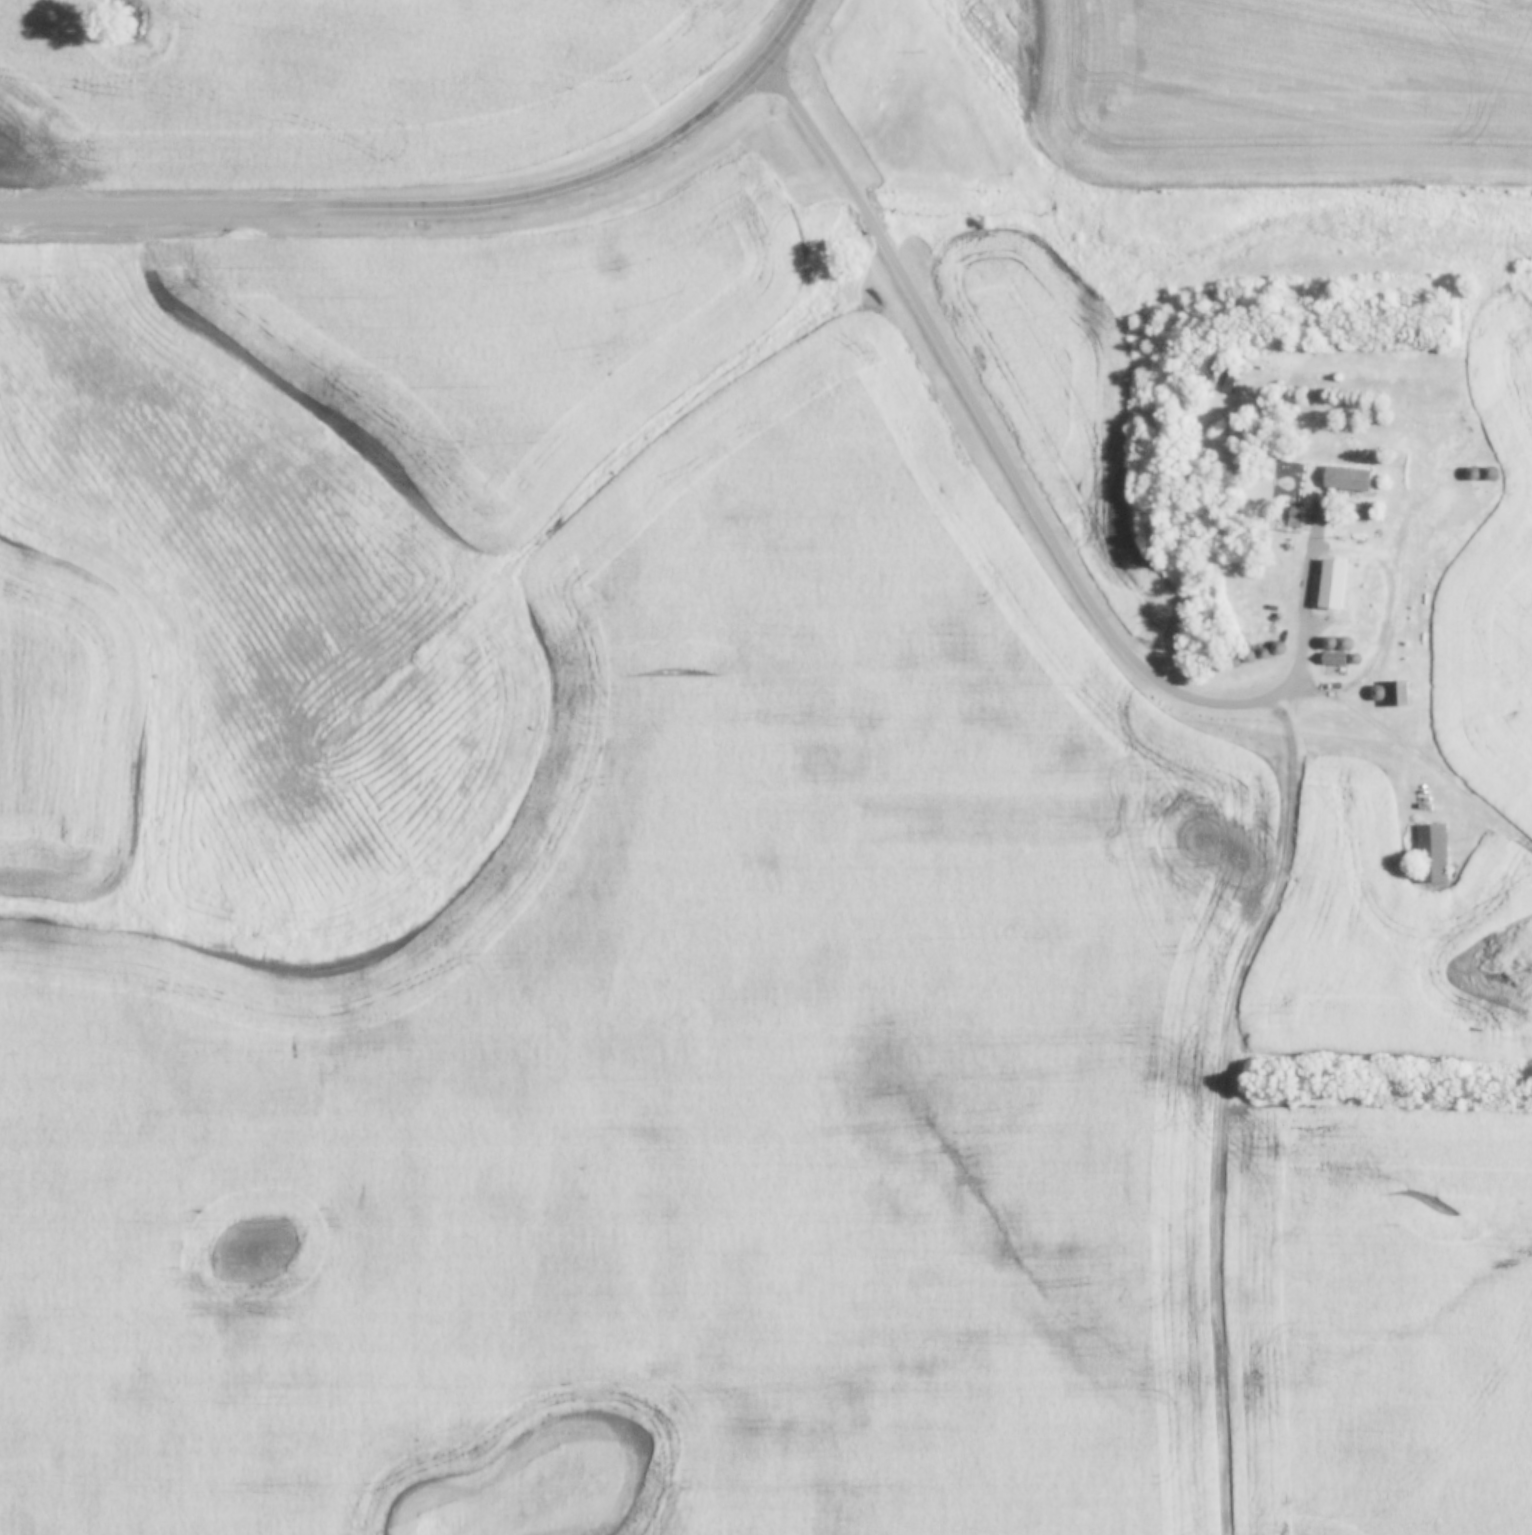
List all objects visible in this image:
road: (794, 33)
road: (575, 195)
road: (169, 213)
building: (1229, 384)
building: (1491, 473)
silo: (1491, 473)
building: (1473, 474)
silo: (1473, 474)
building: (1350, 480)
road: (1025, 484)
building: (1294, 518)
building: (1335, 586)
building: (1331, 642)
silo: (1331, 642)
building: (1346, 643)
silo: (1346, 643)
building: (1278, 648)
silo: (1278, 648)
building: (1265, 654)
silo: (1265, 654)
building: (1249, 656)
silo: (1249, 656)
building: (1355, 659)
silo: (1355, 659)
building: (1236, 663)
silo: (1236, 663)
building: (1336, 664)
building: (1220, 666)
silo: (1220, 666)
building: (1379, 693)
silo: (1379, 693)
building: (1401, 693)
building: (1434, 854)
road: (1211, 1110)

